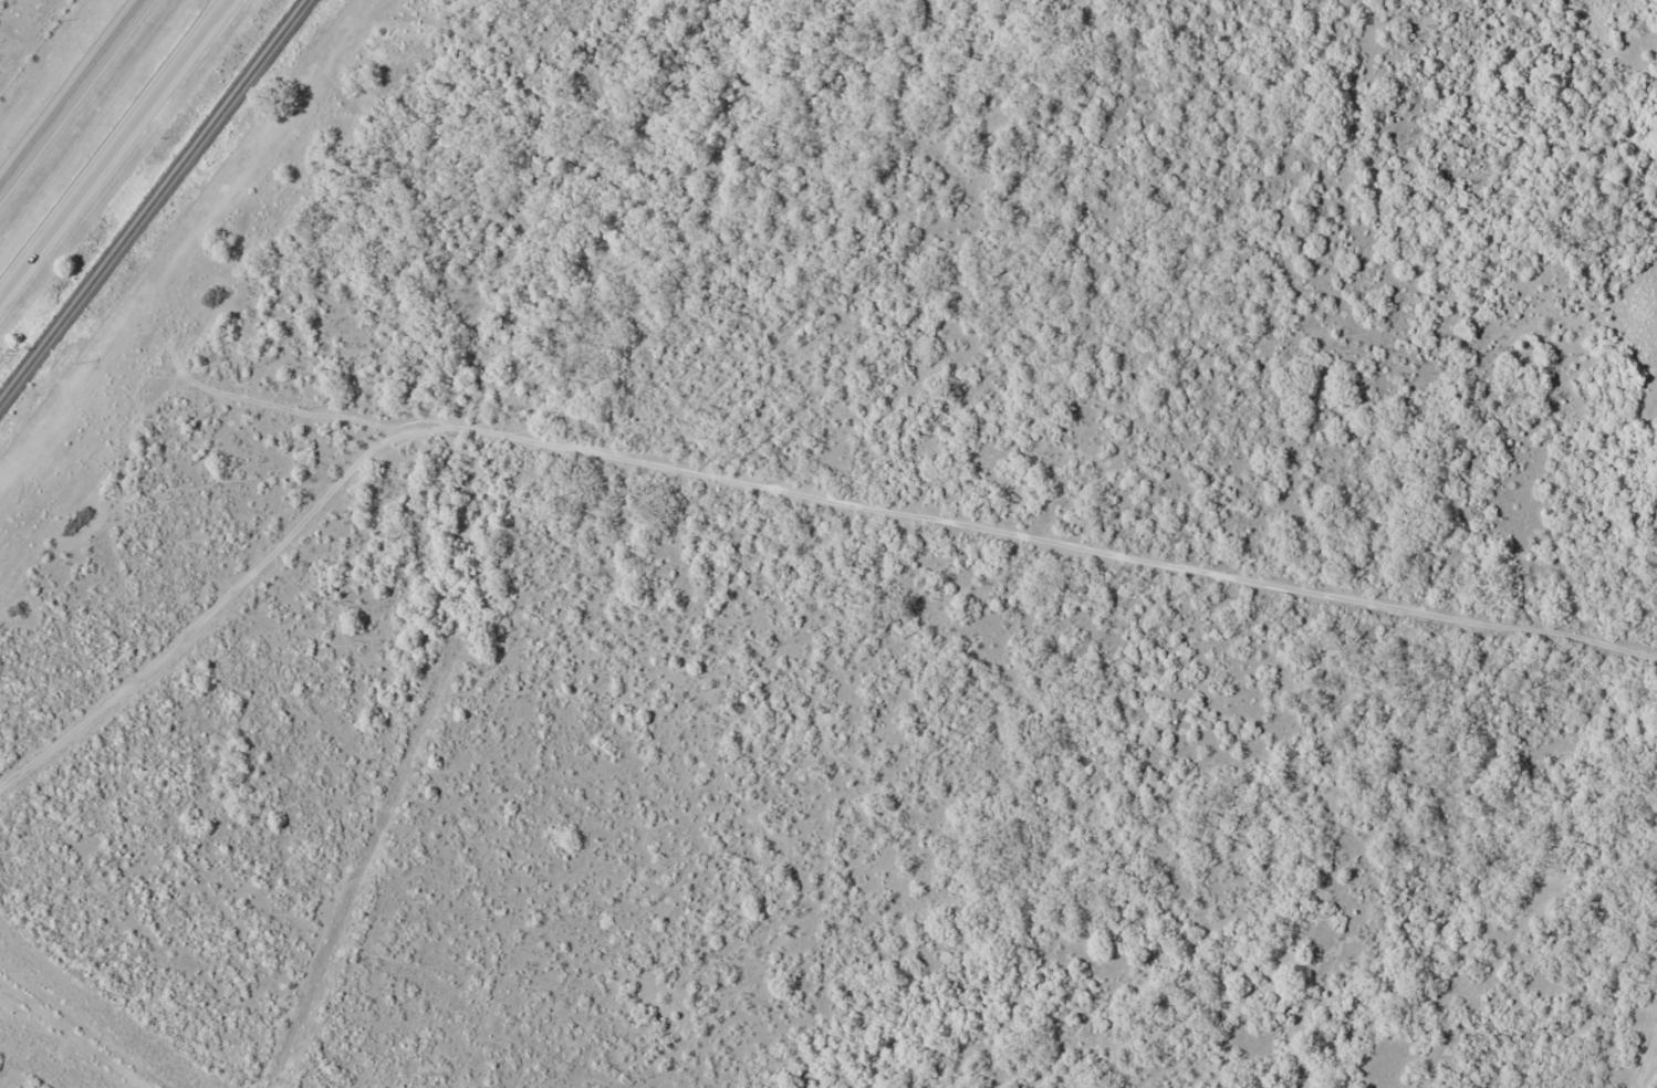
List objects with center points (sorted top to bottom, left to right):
road: (70, 92)
road: (115, 149)
railway: (156, 207)
road: (72, 1036)

